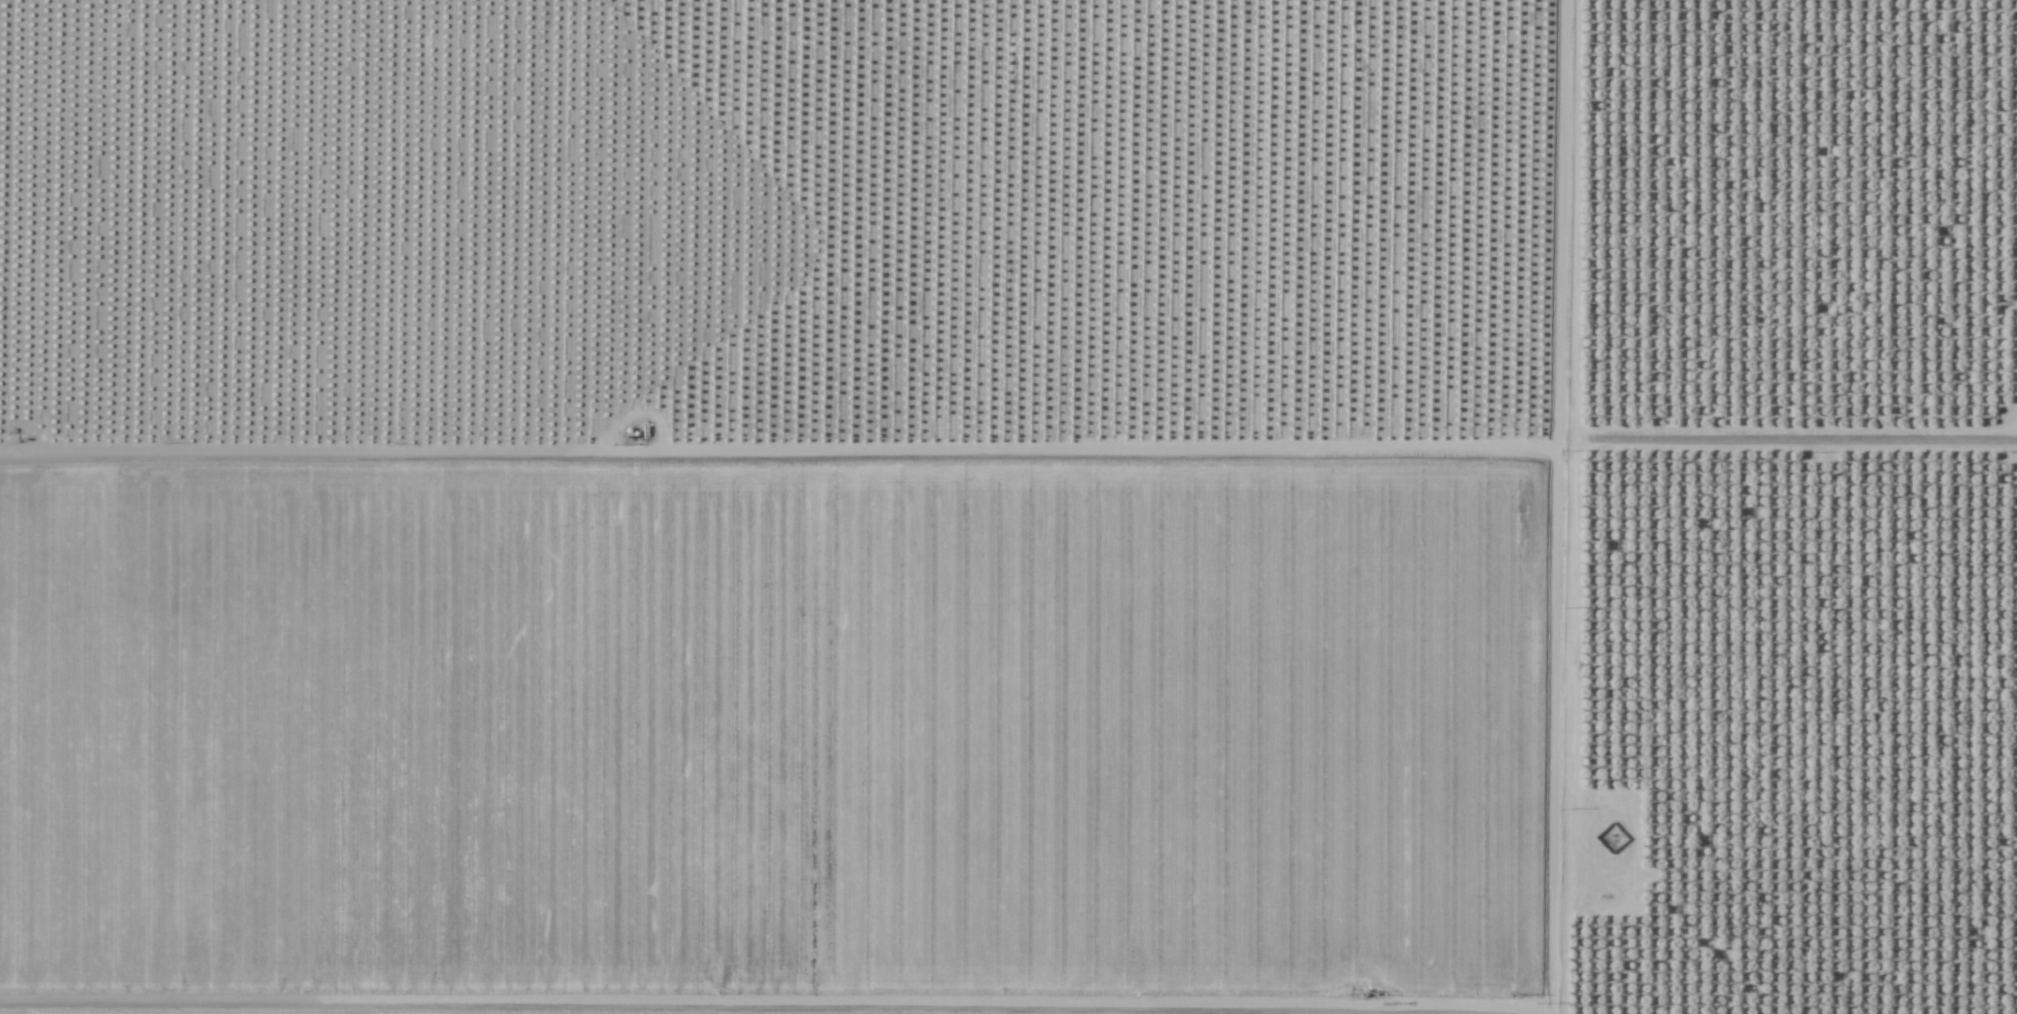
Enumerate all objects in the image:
road: (1539, 732)
crop: (792, 737)

